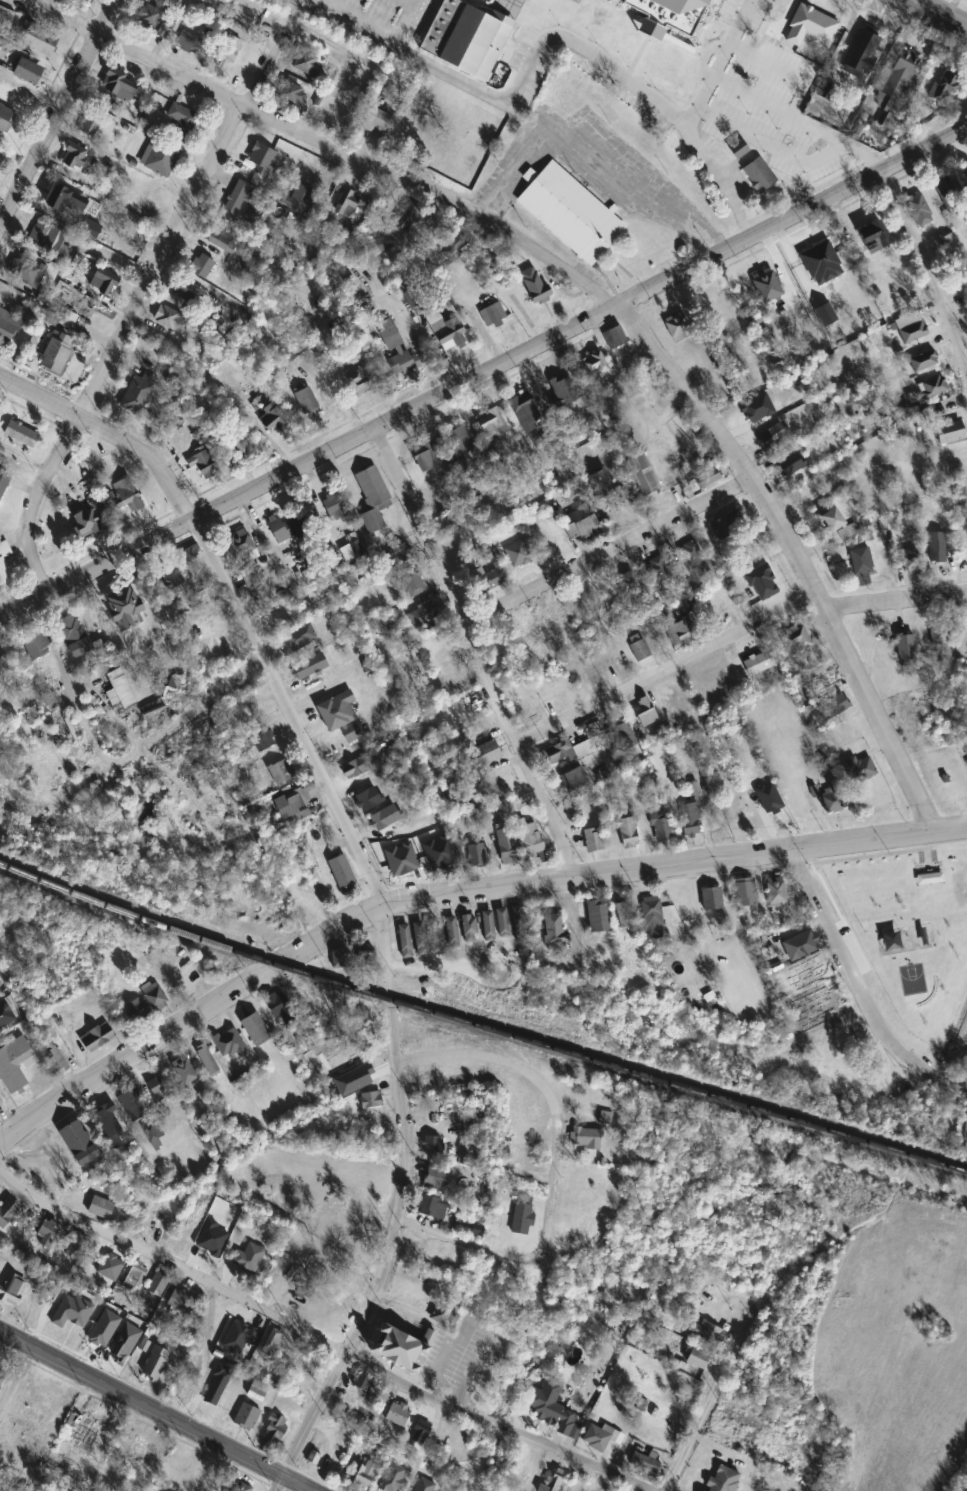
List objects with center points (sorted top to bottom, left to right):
road: (409, 0)
road: (943, 12)
building: (666, 14)
road: (104, 16)
parking lot: (368, 16)
road: (61, 17)
road: (402, 17)
building: (5, 18)
building: (151, 19)
building: (824, 21)
building: (774, 28)
building: (465, 34)
road: (554, 36)
building: (39, 42)
building: (189, 43)
building: (228, 49)
road: (272, 52)
building: (859, 56)
building: (305, 64)
road: (170, 67)
road: (783, 68)
building: (26, 72)
building: (900, 74)
building: (944, 85)
building: (118, 86)
building: (290, 95)
parking lot: (764, 97)
road: (800, 119)
building: (5, 120)
building: (373, 120)
building: (91, 121)
building: (181, 122)
road: (48, 129)
road: (567, 139)
road: (771, 146)
building: (73, 158)
building: (810, 158)
building: (258, 160)
building: (158, 161)
building: (466, 161)
parking lot: (583, 165)
building: (758, 175)
road: (718, 177)
building: (63, 200)
building: (242, 202)
building: (345, 204)
building: (568, 209)
road: (679, 211)
building: (919, 211)
building: (408, 218)
building: (873, 237)
building: (48, 238)
building: (220, 240)
building: (948, 243)
building: (966, 260)
building: (808, 264)
building: (201, 266)
building: (28, 271)
road: (923, 271)
building: (101, 284)
building: (534, 285)
building: (765, 285)
building: (707, 307)
building: (492, 315)
building: (170, 321)
building: (678, 326)
building: (8, 327)
building: (913, 333)
building: (448, 334)
building: (614, 337)
road: (115, 345)
building: (395, 351)
building: (55, 352)
building: (922, 359)
building: (594, 363)
road: (482, 372)
building: (361, 380)
road: (675, 382)
building: (932, 387)
building: (562, 391)
building: (137, 394)
building: (306, 402)
building: (756, 411)
building: (524, 412)
building: (270, 419)
building: (489, 421)
building: (949, 432)
building: (20, 434)
road: (108, 435)
building: (458, 441)
building: (240, 443)
building: (426, 459)
building: (204, 465)
building: (789, 465)
building: (643, 475)
building: (706, 477)
building: (4, 478)
building: (600, 483)
building: (125, 495)
building: (373, 497)
building: (333, 506)
building: (830, 520)
building: (85, 522)
building: (580, 522)
building: (296, 523)
building: (729, 524)
building: (277, 529)
building: (241, 547)
building: (937, 548)
road: (606, 550)
building: (190, 554)
building: (911, 559)
building: (4, 563)
building: (861, 566)
building: (658, 569)
building: (249, 575)
building: (490, 578)
building: (172, 581)
building: (413, 583)
building: (628, 584)
building: (763, 590)
building: (579, 597)
road: (898, 607)
building: (124, 609)
building: (423, 614)
building: (715, 614)
building: (276, 615)
building: (556, 618)
building: (680, 632)
building: (940, 635)
building: (526, 636)
building: (78, 637)
building: (795, 640)
building: (35, 645)
building: (907, 650)
road: (476, 651)
building: (640, 651)
building: (757, 663)
building: (308, 667)
building: (5, 668)
road: (667, 669)
building: (583, 682)
building: (823, 683)
building: (122, 692)
building: (833, 706)
road: (288, 711)
building: (336, 711)
building: (645, 713)
building: (623, 734)
building: (261, 739)
building: (964, 748)
building: (568, 752)
building: (485, 754)
building: (356, 767)
building: (858, 769)
building: (280, 773)
building: (573, 780)
building: (832, 796)
building: (292, 803)
building: (774, 806)
building: (374, 809)
building: (690, 820)
building: (662, 828)
building: (628, 833)
building: (530, 839)
building: (593, 840)
building: (505, 843)
building: (442, 854)
building: (476, 855)
building: (342, 874)
building: (929, 876)
road: (450, 891)
building: (775, 892)
building: (744, 893)
building: (711, 900)
building: (651, 913)
building: (621, 916)
building: (598, 917)
building: (502, 923)
building: (487, 926)
building: (469, 928)
building: (554, 930)
park: (903, 930)
building: (451, 931)
building: (433, 935)
building: (418, 939)
building: (404, 941)
building: (799, 946)
building: (365, 958)
building: (339, 959)
park: (911, 977)
road: (857, 989)
building: (154, 997)
building: (276, 1004)
building: (136, 1010)
railway: (479, 1027)
building: (255, 1030)
building: (96, 1038)
building: (53, 1059)
building: (206, 1060)
building: (14, 1065)
building: (183, 1071)
building: (159, 1087)
building: (370, 1100)
building: (133, 1105)
building: (604, 1118)
road: (6, 1121)
building: (108, 1121)
building: (965, 1128)
building: (584, 1138)
building: (78, 1144)
building: (432, 1146)
road: (553, 1166)
building: (436, 1178)
road: (403, 1200)
building: (432, 1206)
building: (7, 1212)
building: (521, 1219)
building: (45, 1236)
building: (74, 1246)
building: (417, 1248)
building: (249, 1256)
building: (134, 1278)
building: (156, 1285)
building: (11, 1286)
building: (181, 1302)
building: (322, 1315)
building: (441, 1316)
building: (707, 1332)
building: (251, 1333)
building: (271, 1344)
road: (322, 1344)
building: (400, 1346)
building: (288, 1356)
building: (154, 1359)
building: (697, 1359)
road: (11, 1367)
building: (307, 1370)
building: (361, 1382)
building: (258, 1389)
road: (713, 1389)
building: (554, 1409)
road: (156, 1410)
building: (244, 1413)
building: (396, 1414)
building: (274, 1425)
building: (87, 1428)
building: (418, 1433)
building: (600, 1437)
building: (134, 1447)
building: (332, 1458)
building: (364, 1474)
building: (392, 1477)
building: (721, 1479)
road: (273, 1482)
building: (550, 1483)
building: (422, 1484)
building: (238, 1485)

